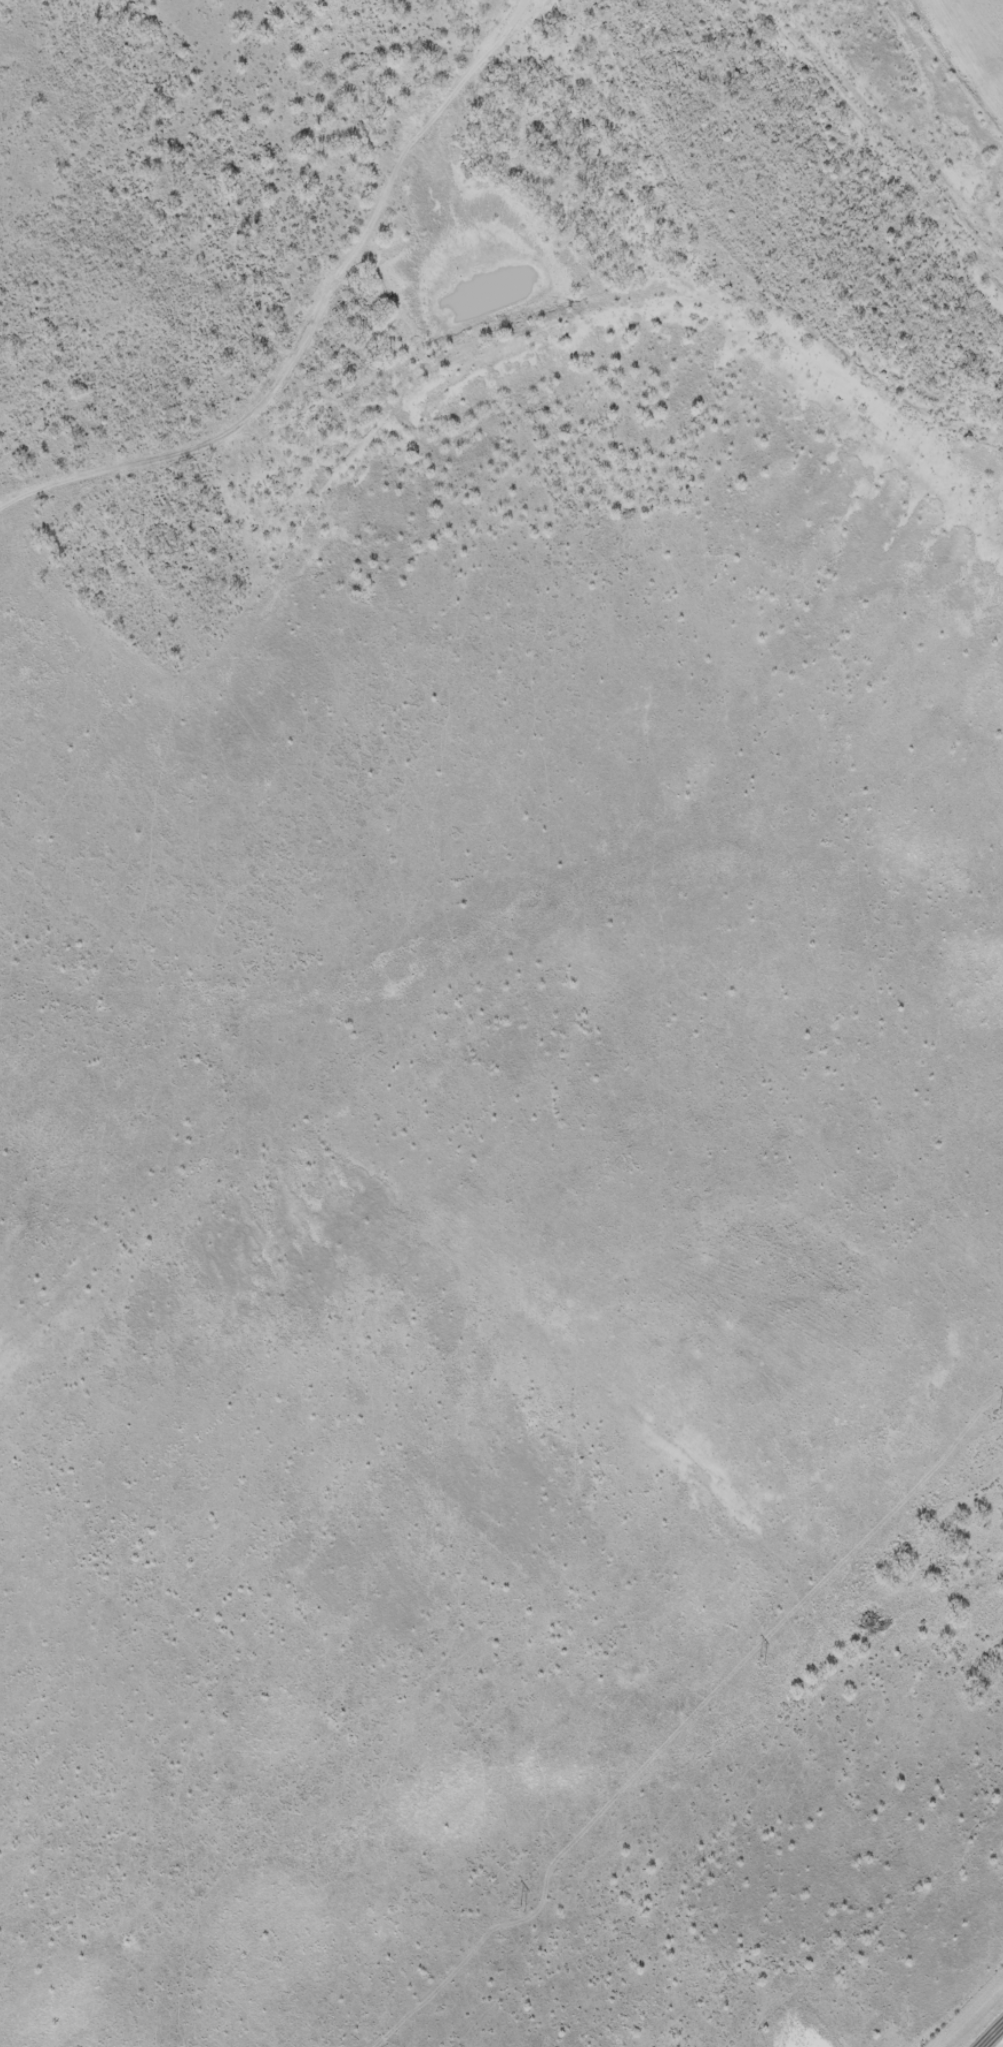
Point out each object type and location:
road: (525, 80)
road: (476, 1224)
power tower: (1001, 1414)
power tower: (761, 1662)
power tower: (524, 1910)
road: (994, 2038)

